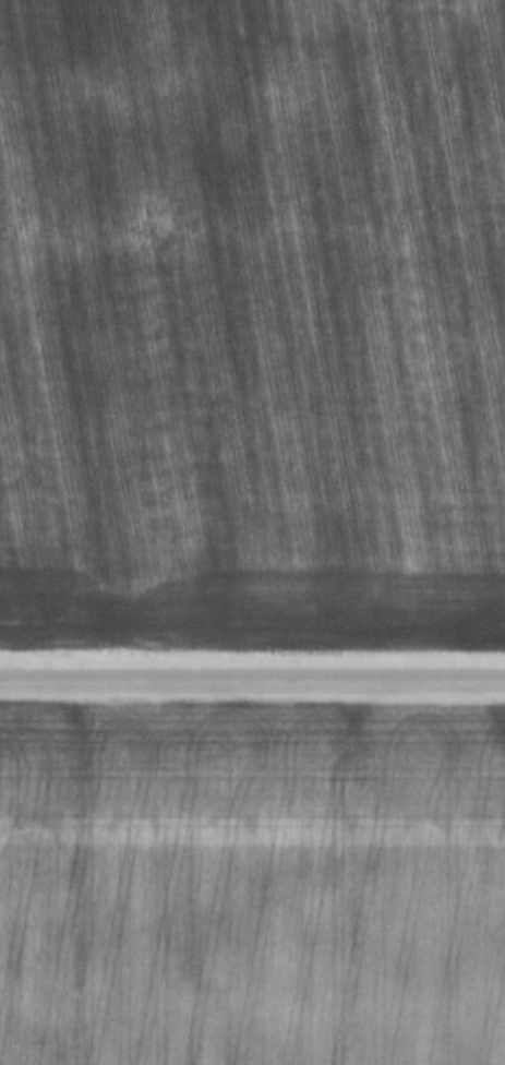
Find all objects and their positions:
road: (252, 677)

